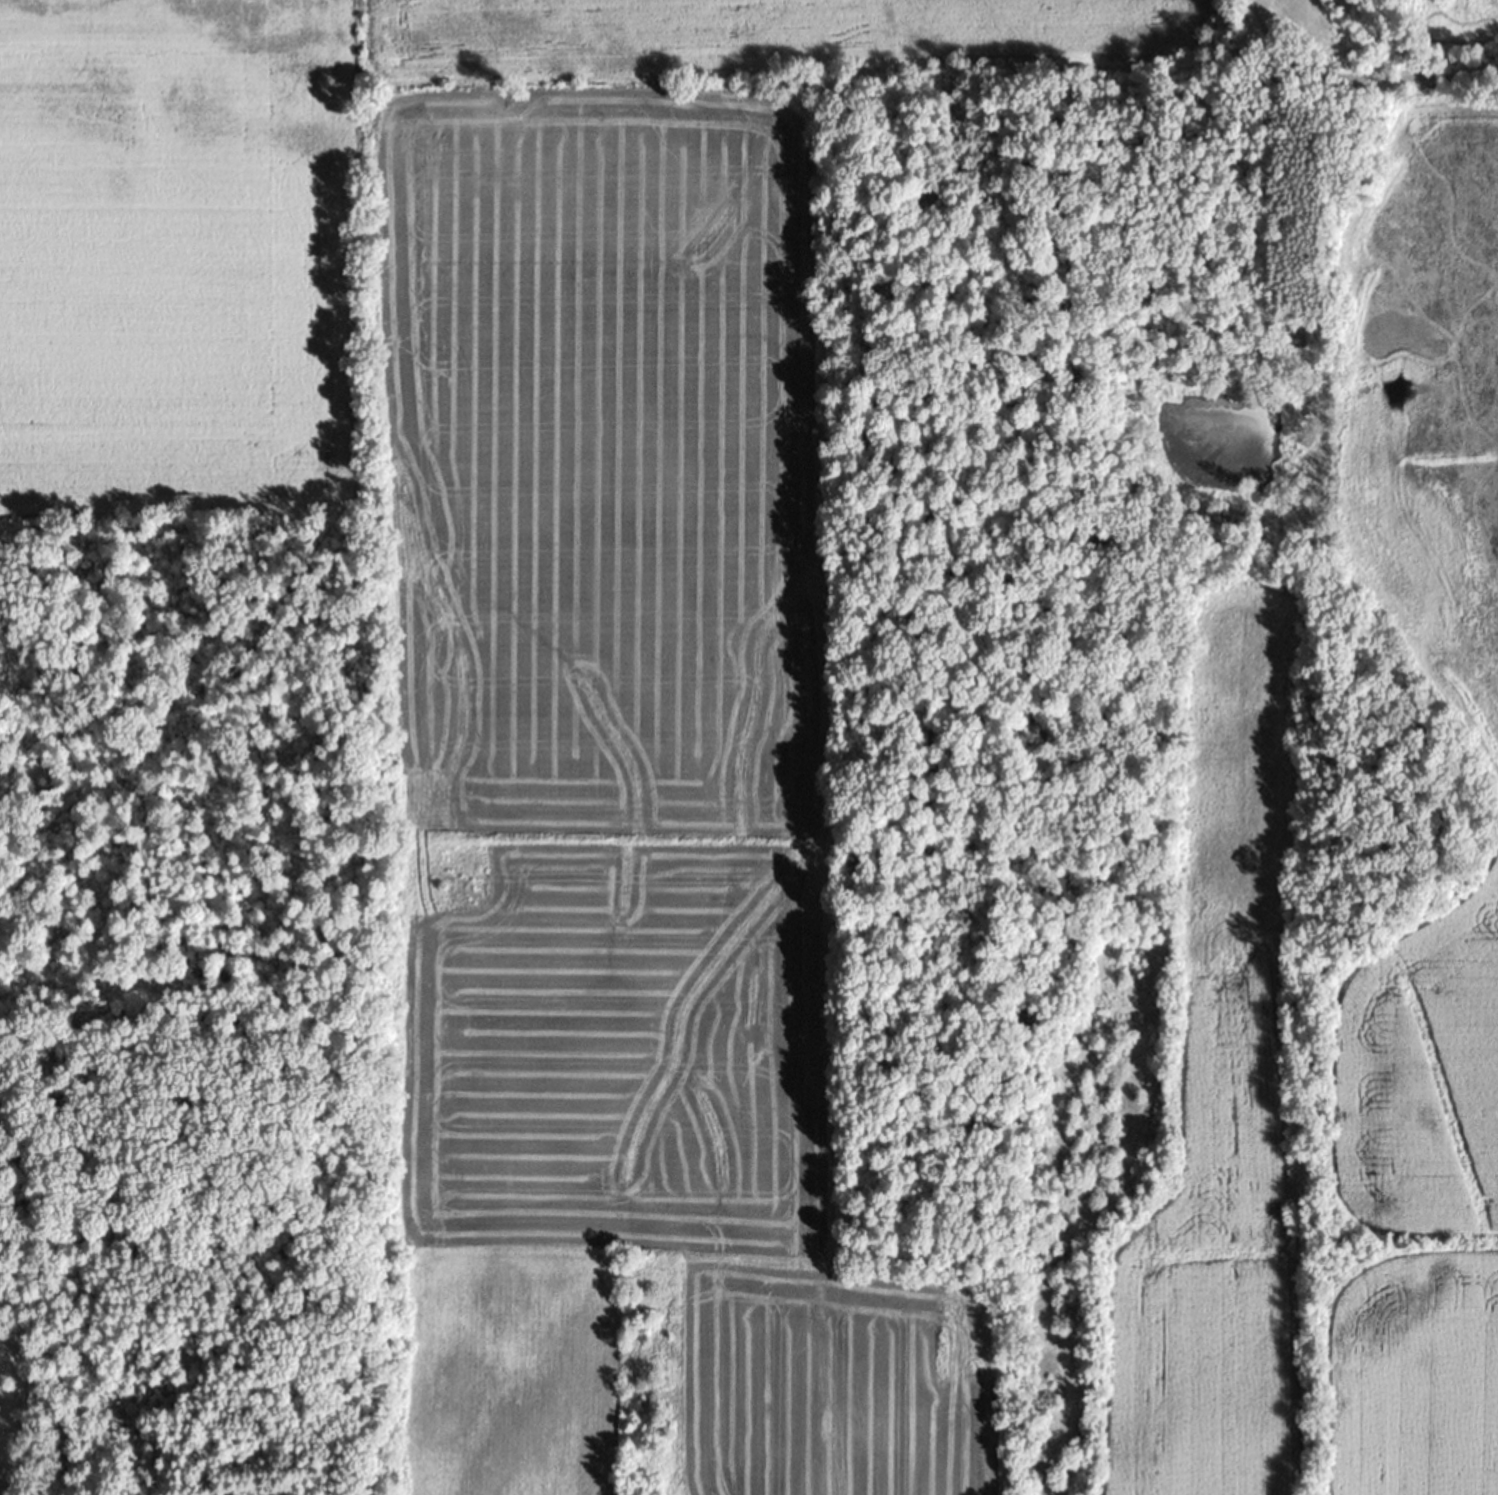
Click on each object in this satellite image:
road: (1372, 59)

